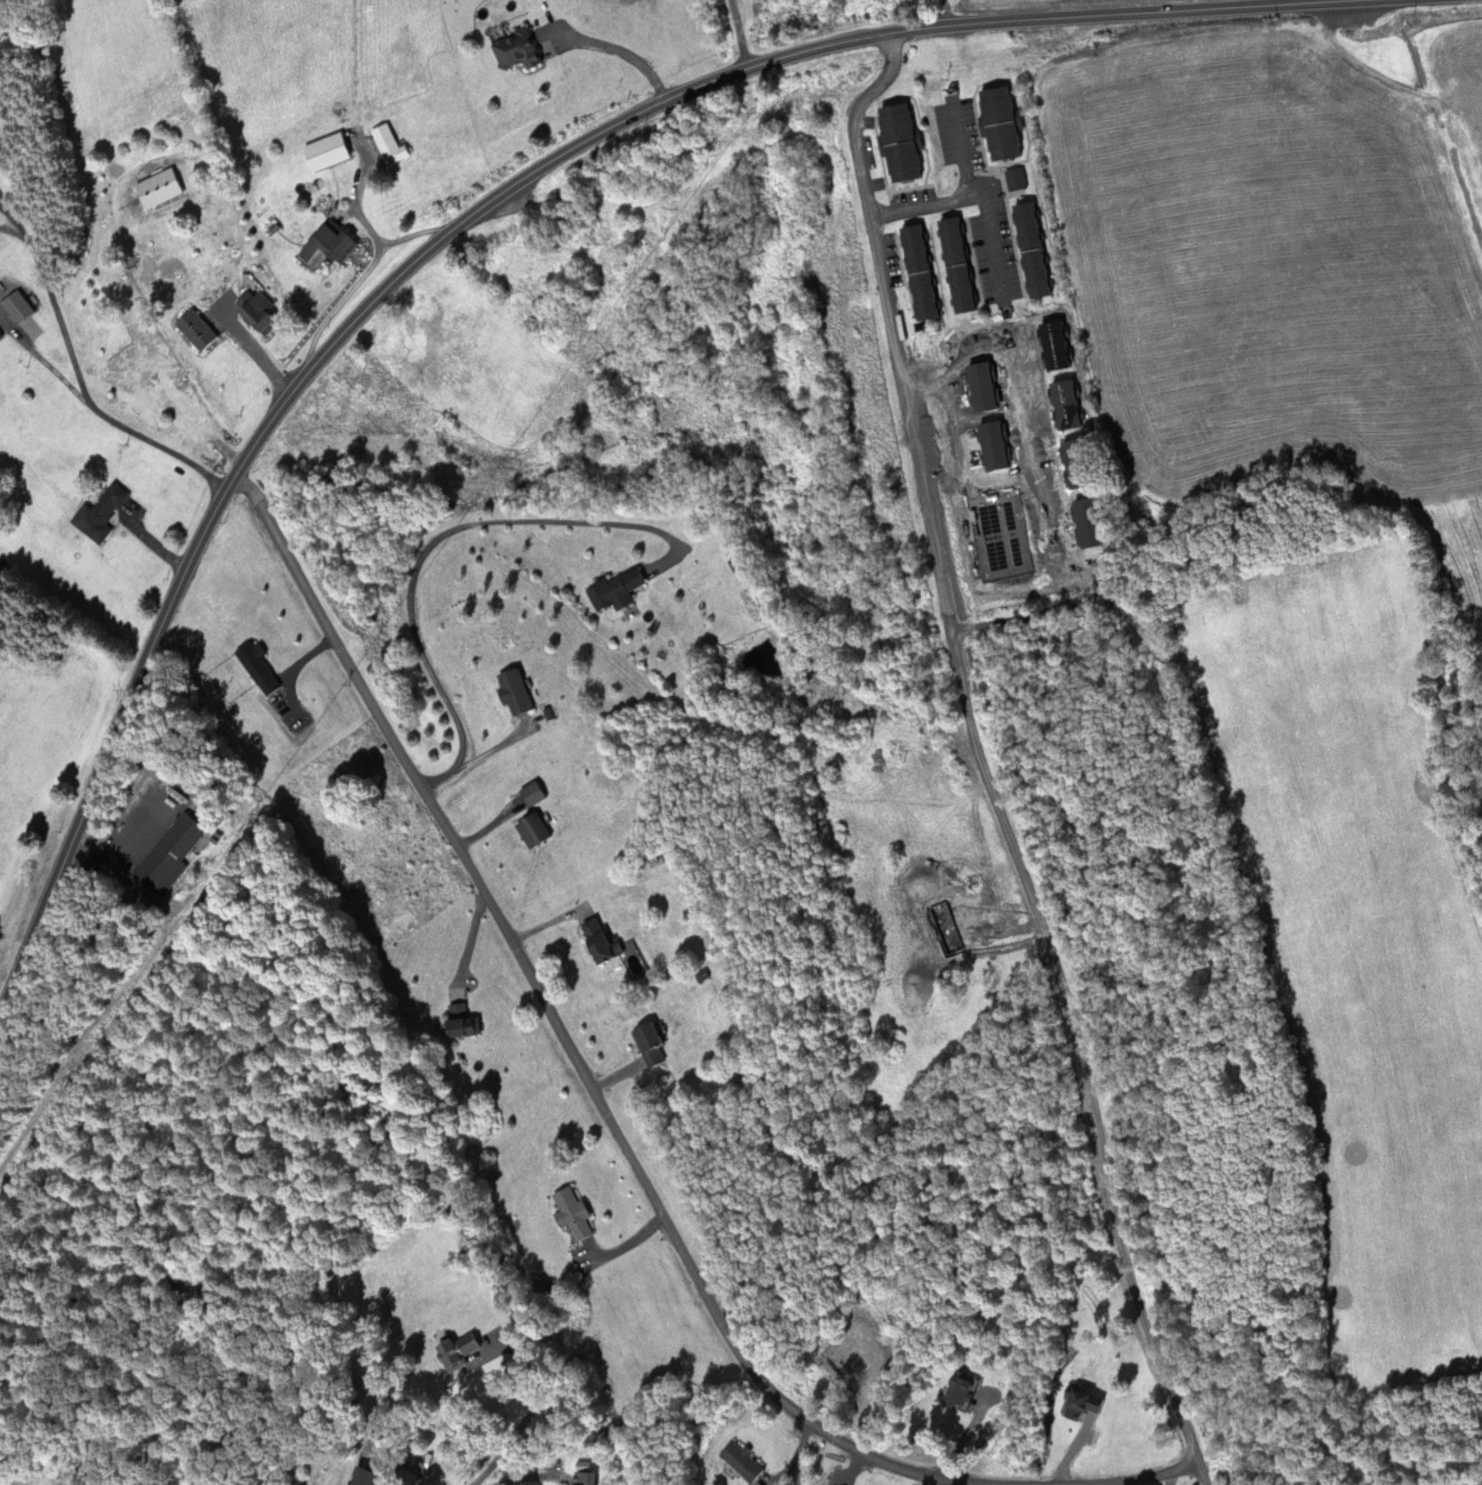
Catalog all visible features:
building: (518, 47)
building: (1003, 122)
building: (903, 141)
building: (391, 143)
building: (329, 150)
building: (1015, 178)
building: (162, 187)
road: (465, 219)
building: (333, 241)
building: (1035, 249)
building: (962, 264)
building: (924, 271)
building: (20, 306)
building: (264, 311)
building: (199, 329)
building: (105, 512)
building: (618, 589)
building: (517, 691)
road: (476, 767)
building: (534, 792)
building: (536, 829)
building: (172, 852)
building: (603, 940)
building: (462, 1021)
building: (653, 1043)
road: (596, 1131)
building: (575, 1213)
building: (463, 1347)
building: (1090, 1400)
building: (745, 1460)
building: (586, 1477)
building: (372, 1481)
building: (355, 1484)

